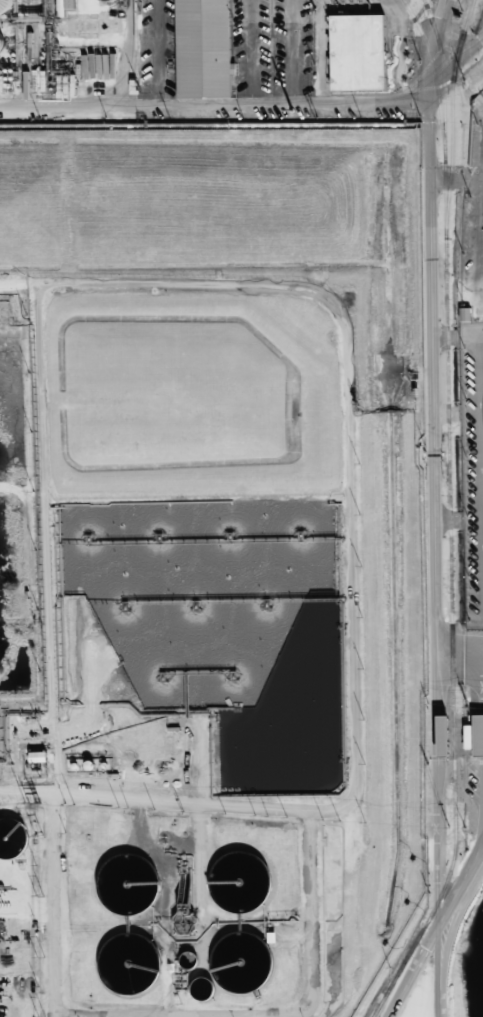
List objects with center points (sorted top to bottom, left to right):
building: (114, 0)
railway: (423, 0)
road: (393, 5)
building: (5, 7)
building: (1, 44)
building: (203, 49)
road: (31, 52)
road: (152, 52)
road: (251, 52)
road: (292, 52)
road: (321, 52)
building: (358, 53)
railway: (434, 78)
road: (215, 105)
railway: (452, 117)
road: (436, 507)
railway: (449, 517)
building: (474, 735)
building: (13, 838)
road: (417, 972)

